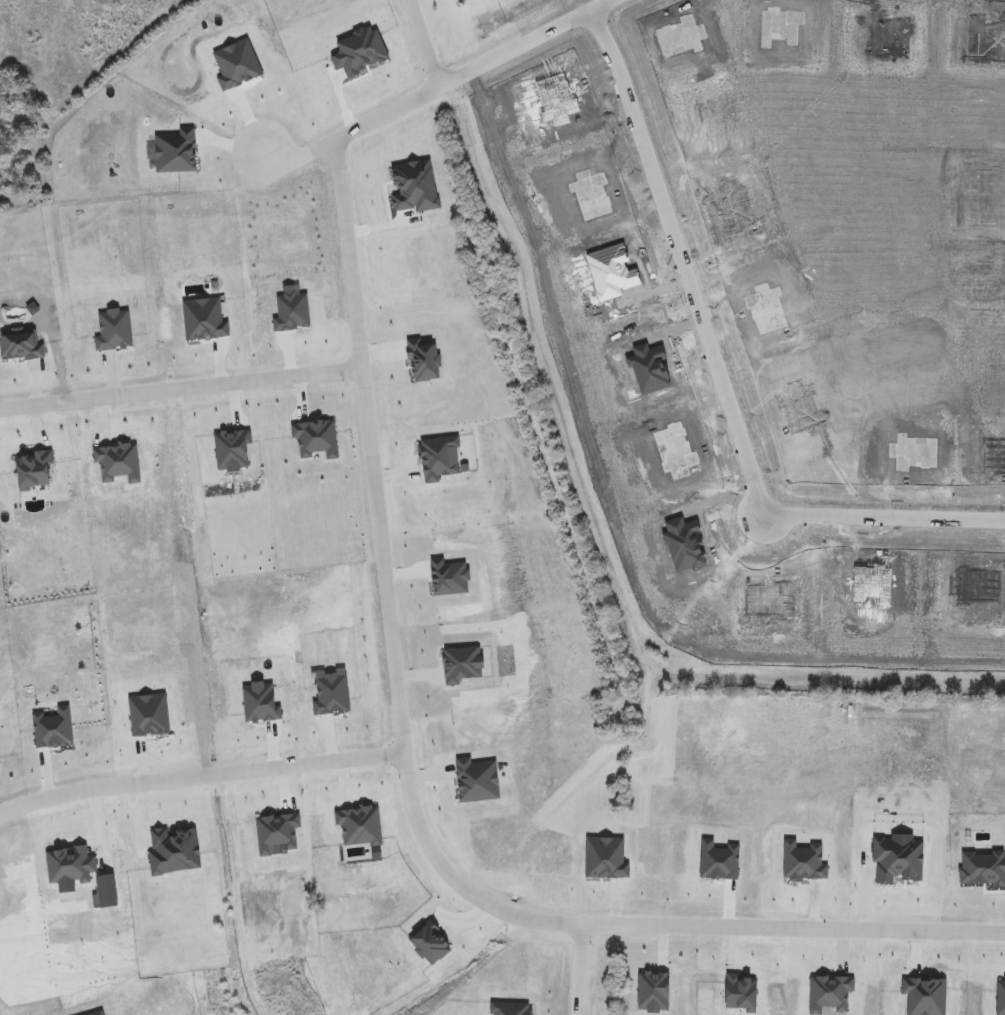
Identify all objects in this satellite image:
road: (423, 43)
road: (525, 43)
road: (349, 134)
building: (414, 187)
building: (293, 309)
building: (204, 318)
building: (114, 329)
building: (22, 345)
building: (423, 356)
road: (719, 375)
road: (180, 387)
building: (316, 440)
building: (232, 449)
building: (440, 459)
building: (117, 461)
building: (285, 473)
building: (34, 474)
building: (450, 575)
building: (461, 663)
building: (330, 691)
building: (261, 702)
building: (148, 715)
building: (53, 727)
road: (200, 775)
building: (478, 776)
road: (409, 796)
building: (357, 831)
building: (277, 836)
building: (173, 850)
building: (603, 857)
building: (803, 861)
building: (718, 862)
building: (897, 864)
building: (71, 865)
building: (982, 871)
building: (107, 890)
building: (427, 944)
road: (577, 970)
building: (649, 993)
building: (737, 993)
building: (829, 995)
building: (922, 997)
building: (1001, 998)
building: (509, 1009)

